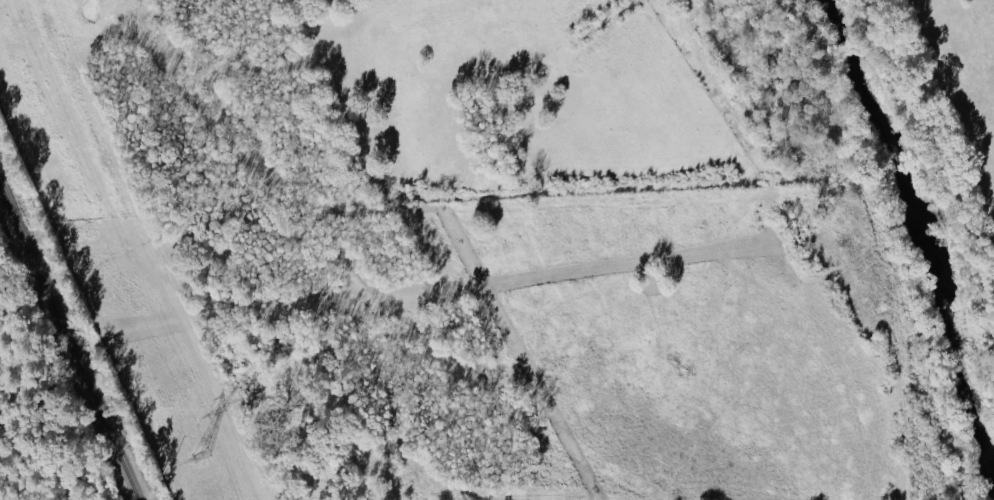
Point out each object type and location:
river: (922, 216)
railway: (68, 344)
power tower: (198, 457)

